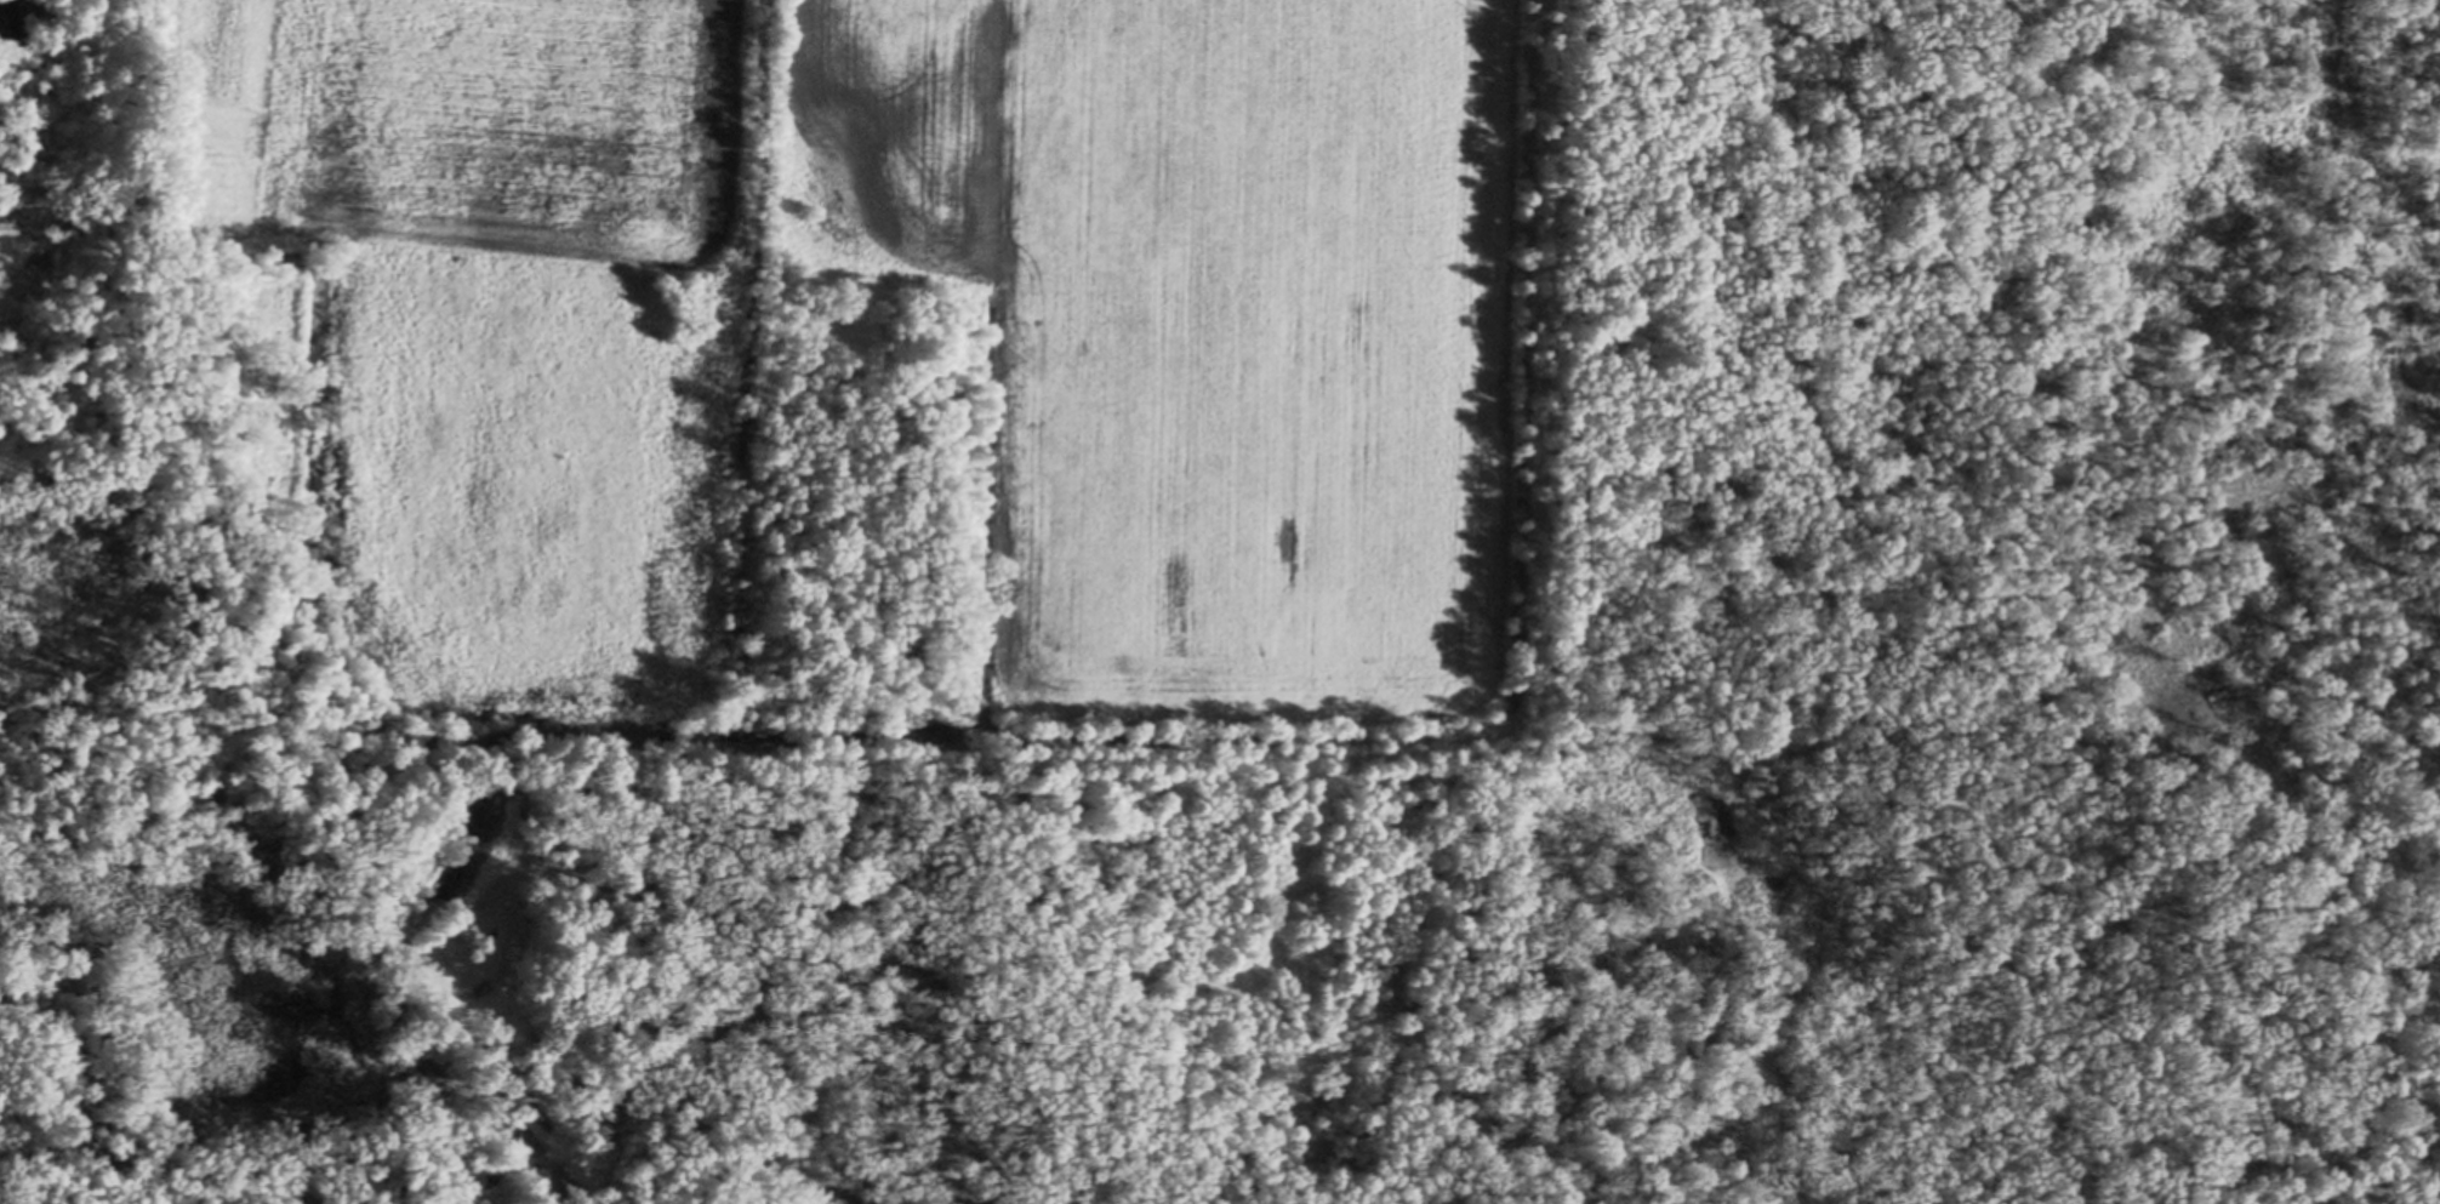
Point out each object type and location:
building: (515, 1095)
building: (547, 1185)

